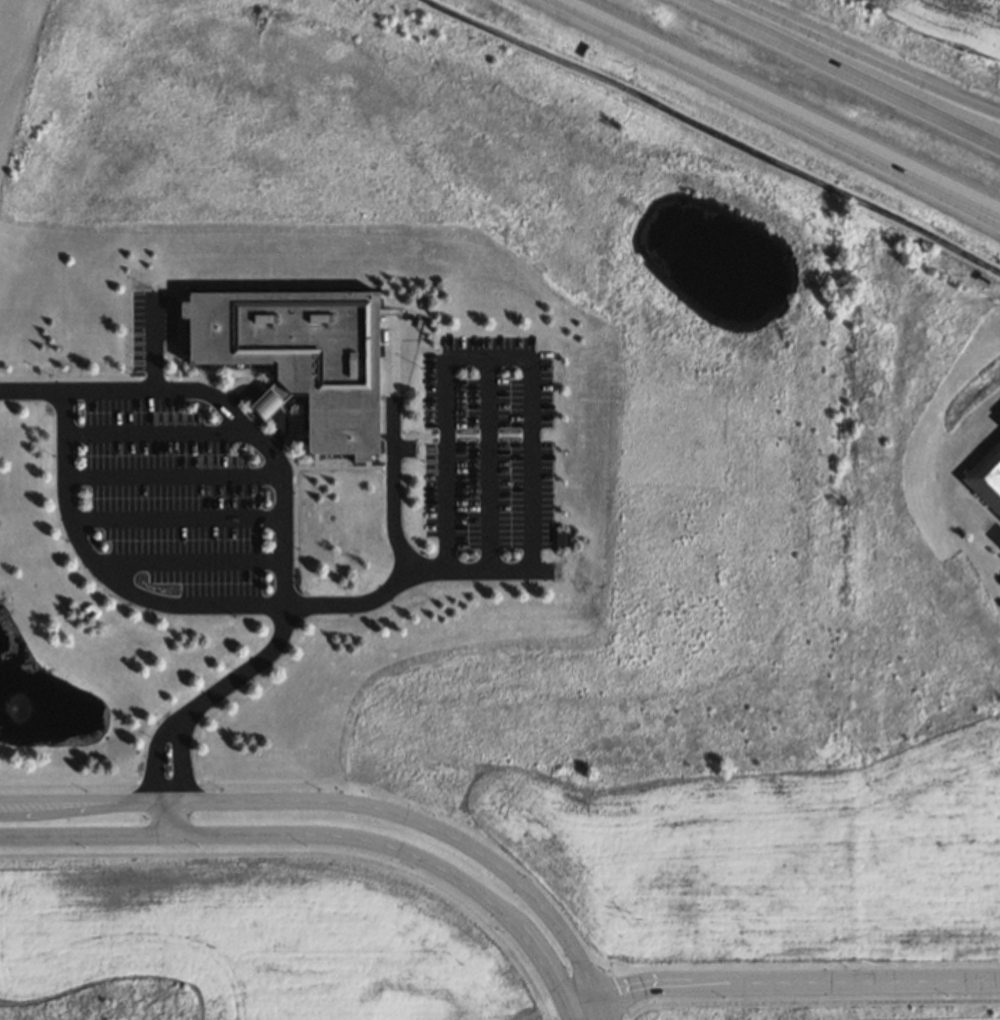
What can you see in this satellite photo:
road: (867, 60)
road: (847, 73)
road: (779, 105)
road: (717, 132)
road: (935, 186)
building: (296, 354)
building: (999, 421)
road: (276, 463)
building: (986, 479)
building: (559, 538)
road: (154, 755)
road: (180, 758)
road: (91, 803)
road: (169, 813)
road: (438, 828)
road: (325, 834)
road: (781, 981)

